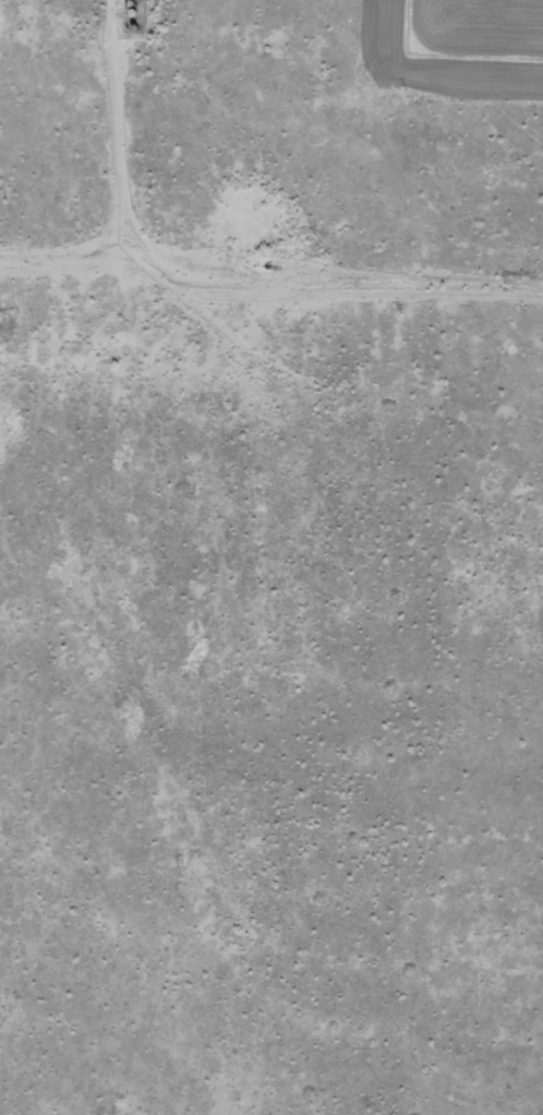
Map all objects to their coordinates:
road: (121, 132)

